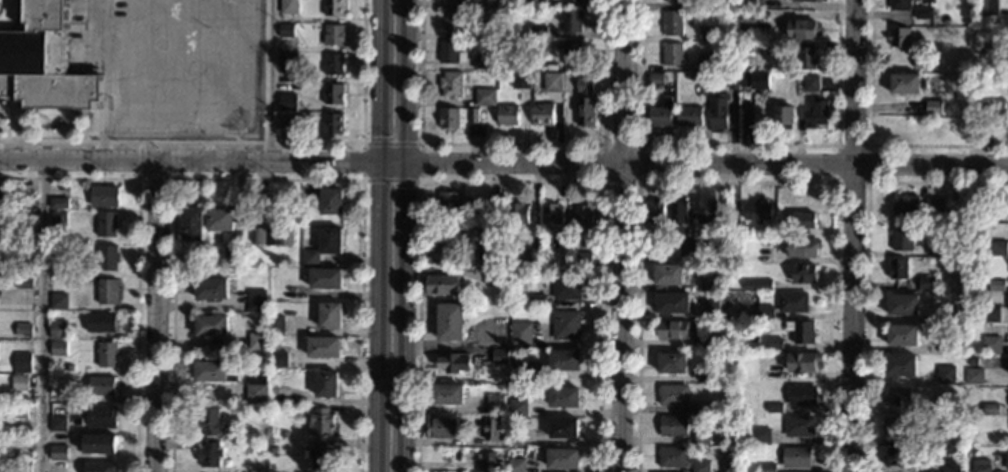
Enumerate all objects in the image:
building: (456, 0)
building: (670, 0)
building: (572, 1)
building: (807, 1)
building: (494, 3)
building: (533, 3)
building: (748, 4)
building: (899, 5)
building: (735, 6)
building: (290, 7)
building: (987, 7)
building: (334, 8)
building: (923, 13)
building: (452, 20)
building: (570, 20)
building: (747, 20)
road: (19, 23)
building: (672, 23)
building: (801, 29)
building: (287, 30)
building: (538, 32)
building: (707, 33)
building: (334, 34)
building: (485, 34)
building: (898, 37)
building: (995, 39)
building: (745, 47)
building: (571, 52)
building: (450, 53)
building: (671, 54)
building: (805, 58)
building: (289, 61)
building: (45, 62)
building: (481, 62)
building: (705, 63)
building: (921, 63)
building: (333, 64)
building: (970, 65)
building: (655, 78)
road: (269, 79)
building: (732, 79)
building: (523, 80)
building: (753, 80)
road: (379, 81)
road: (409, 81)
building: (552, 82)
building: (810, 83)
building: (905, 84)
building: (451, 85)
building: (334, 94)
building: (485, 96)
building: (287, 101)
building: (585, 102)
building: (932, 107)
building: (996, 108)
building: (717, 113)
building: (543, 114)
building: (815, 114)
building: (475, 115)
building: (507, 115)
building: (688, 115)
building: (658, 116)
building: (783, 117)
building: (449, 118)
building: (289, 120)
building: (333, 123)
building: (912, 129)
building: (972, 131)
road: (867, 142)
road: (252, 143)
road: (391, 144)
road: (512, 144)
road: (738, 144)
road: (189, 158)
road: (139, 161)
road: (175, 161)
road: (363, 162)
road: (393, 163)
road: (421, 163)
road: (707, 165)
road: (636, 177)
road: (157, 180)
road: (268, 180)
road: (514, 180)
road: (392, 181)
road: (735, 181)
road: (866, 181)
building: (2, 195)
building: (104, 196)
building: (331, 201)
building: (62, 202)
building: (449, 202)
building: (978, 203)
building: (905, 205)
building: (496, 206)
building: (933, 206)
building: (653, 212)
building: (678, 212)
building: (708, 212)
building: (756, 212)
building: (517, 213)
building: (551, 214)
building: (583, 215)
building: (25, 217)
building: (59, 218)
building: (732, 219)
building: (221, 220)
building: (802, 220)
building: (107, 224)
building: (192, 224)
building: (477, 225)
building: (789, 231)
building: (274, 233)
road: (621, 236)
road: (853, 236)
building: (902, 237)
building: (330, 240)
building: (565, 242)
building: (801, 247)
building: (687, 248)
building: (997, 248)
building: (59, 251)
building: (936, 251)
building: (25, 252)
building: (489, 252)
building: (232, 254)
building: (510, 254)
building: (764, 255)
road: (138, 256)
building: (195, 256)
road: (865, 256)
building: (108, 257)
building: (531, 257)
building: (310, 258)
building: (582, 259)
building: (897, 269)
building: (803, 273)
building: (494, 275)
building: (667, 275)
building: (326, 278)
building: (708, 280)
building: (24, 283)
building: (926, 283)
building: (439, 284)
building: (566, 285)
building: (757, 285)
building: (995, 285)
building: (211, 288)
building: (108, 291)
building: (256, 300)
building: (59, 301)
building: (536, 301)
building: (792, 302)
building: (672, 303)
building: (902, 305)
building: (709, 309)
building: (765, 312)
building: (944, 313)
road: (40, 314)
road: (156, 314)
building: (990, 314)
building: (330, 315)
road: (377, 317)
road: (406, 317)
building: (449, 321)
building: (102, 322)
building: (750, 323)
building: (275, 324)
building: (211, 325)
building: (565, 325)
building: (23, 330)
building: (58, 330)
building: (672, 330)
building: (800, 332)
building: (71, 334)
building: (520, 334)
building: (901, 335)
building: (536, 340)
building: (256, 341)
building: (711, 341)
building: (773, 344)
building: (945, 344)
building: (990, 344)
building: (324, 347)
building: (59, 348)
building: (108, 354)
building: (499, 356)
building: (8, 357)
building: (278, 360)
building: (564, 360)
building: (453, 362)
building: (671, 362)
building: (802, 362)
building: (23, 363)
building: (899, 365)
building: (70, 368)
building: (519, 370)
building: (216, 371)
building: (706, 375)
building: (945, 375)
building: (973, 376)
building: (20, 383)
building: (326, 384)
building: (102, 385)
building: (256, 389)
building: (276, 394)
building: (446, 394)
building: (673, 395)
building: (801, 395)
building: (563, 397)
building: (897, 397)
building: (494, 404)
building: (947, 405)
building: (773, 407)
building: (517, 408)
building: (702, 408)
building: (990, 409)
building: (20, 411)
building: (101, 416)
building: (503, 418)
building: (320, 421)
building: (210, 422)
building: (58, 423)
building: (673, 426)
building: (798, 426)
building: (893, 426)
building: (441, 428)
building: (563, 428)
building: (490, 431)
building: (284, 434)
building: (515, 436)
building: (760, 436)
building: (951, 436)
building: (701, 438)
building: (970, 441)
building: (100, 444)
building: (273, 450)
building: (58, 452)
building: (17, 454)
building: (210, 454)
building: (321, 456)
building: (673, 456)
building: (896, 456)
building: (796, 457)
building: (562, 458)
building: (1006, 458)
building: (503, 461)
building: (486, 462)
building: (515, 465)
building: (950, 465)
building: (22, 466)
building: (981, 466)
building: (100, 467)
building: (258, 467)
building: (700, 467)
building: (767, 468)
building: (503, 470)

